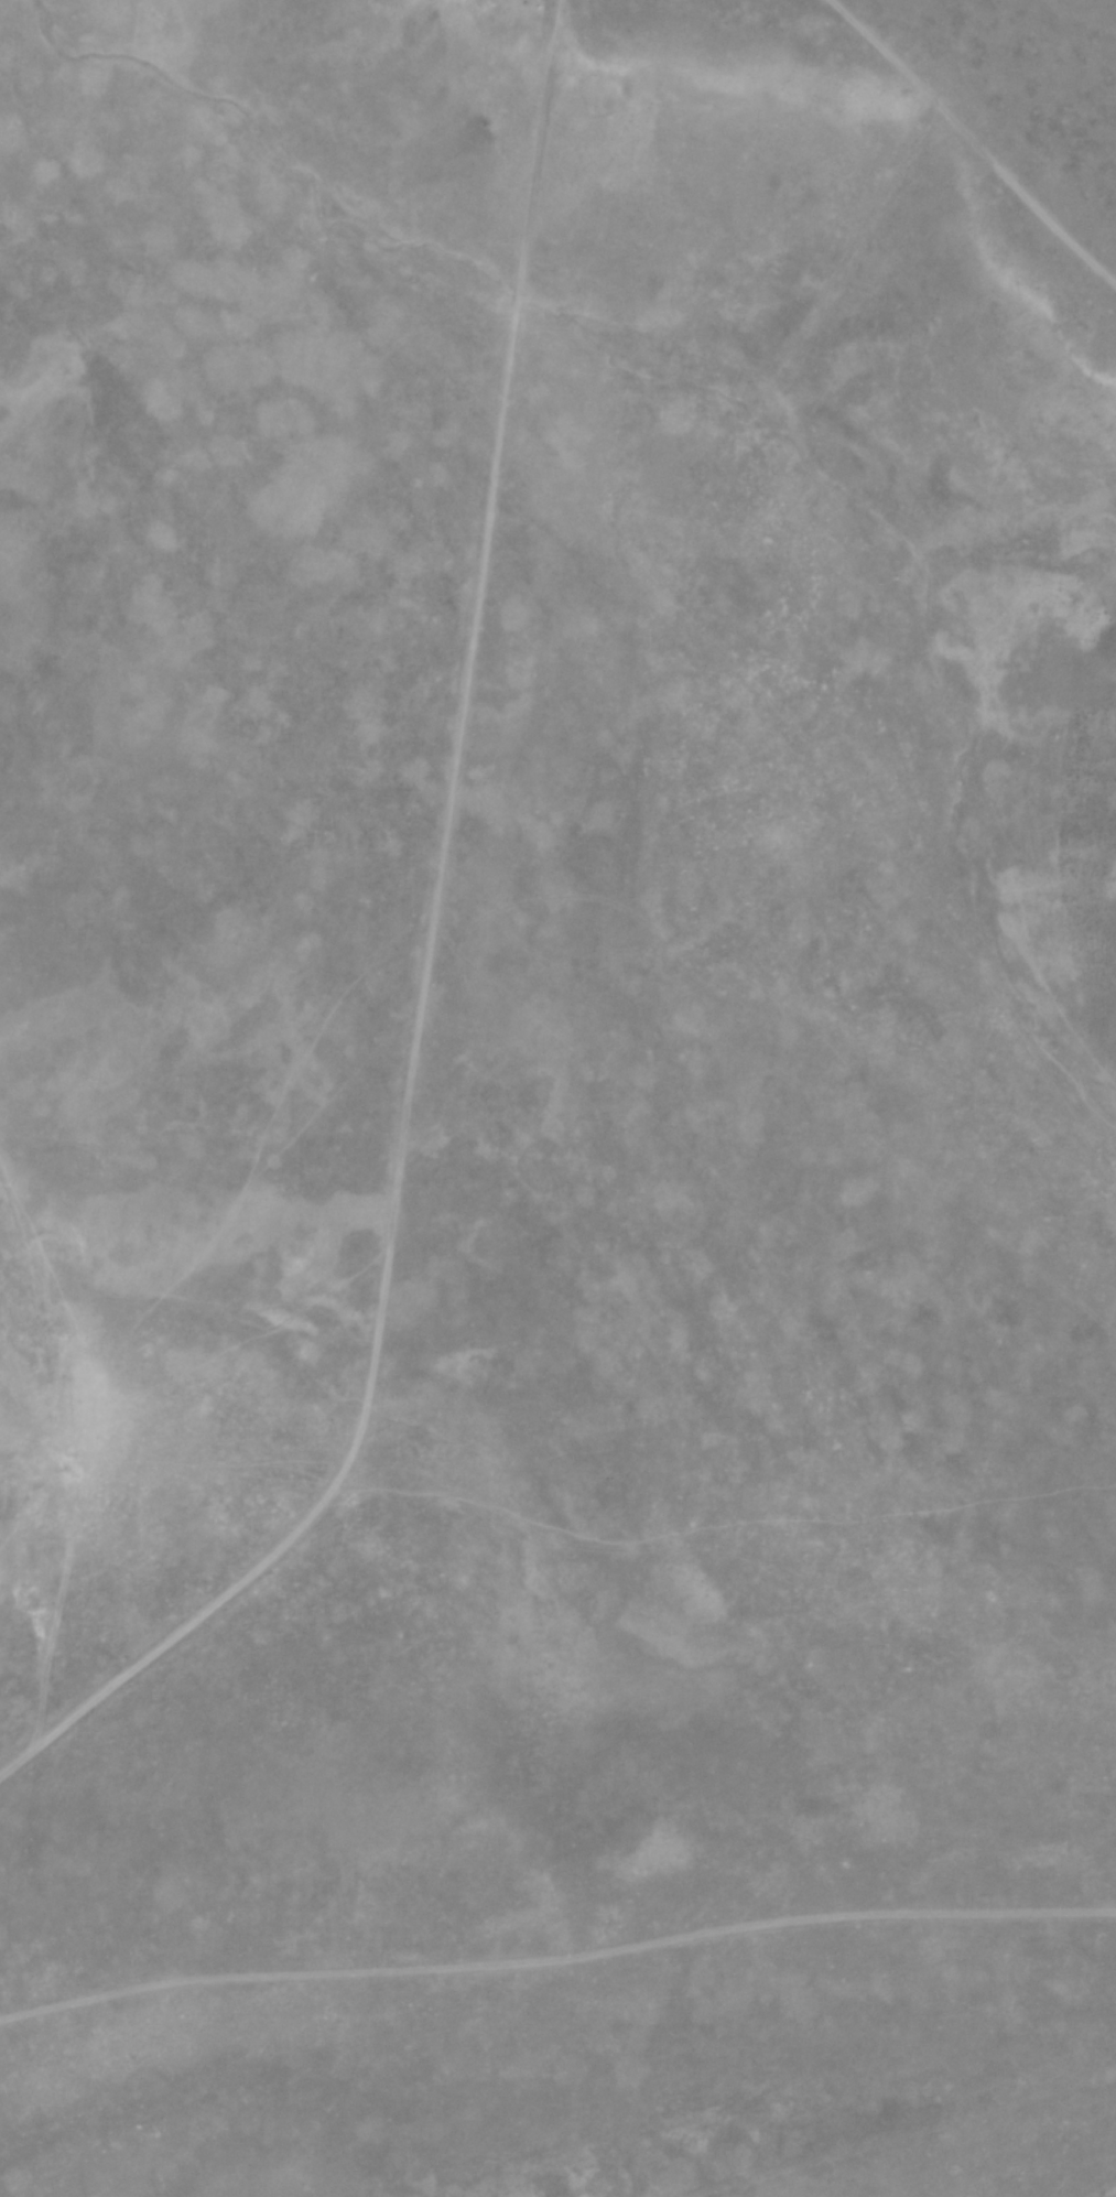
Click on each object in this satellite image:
road: (917, 2140)

